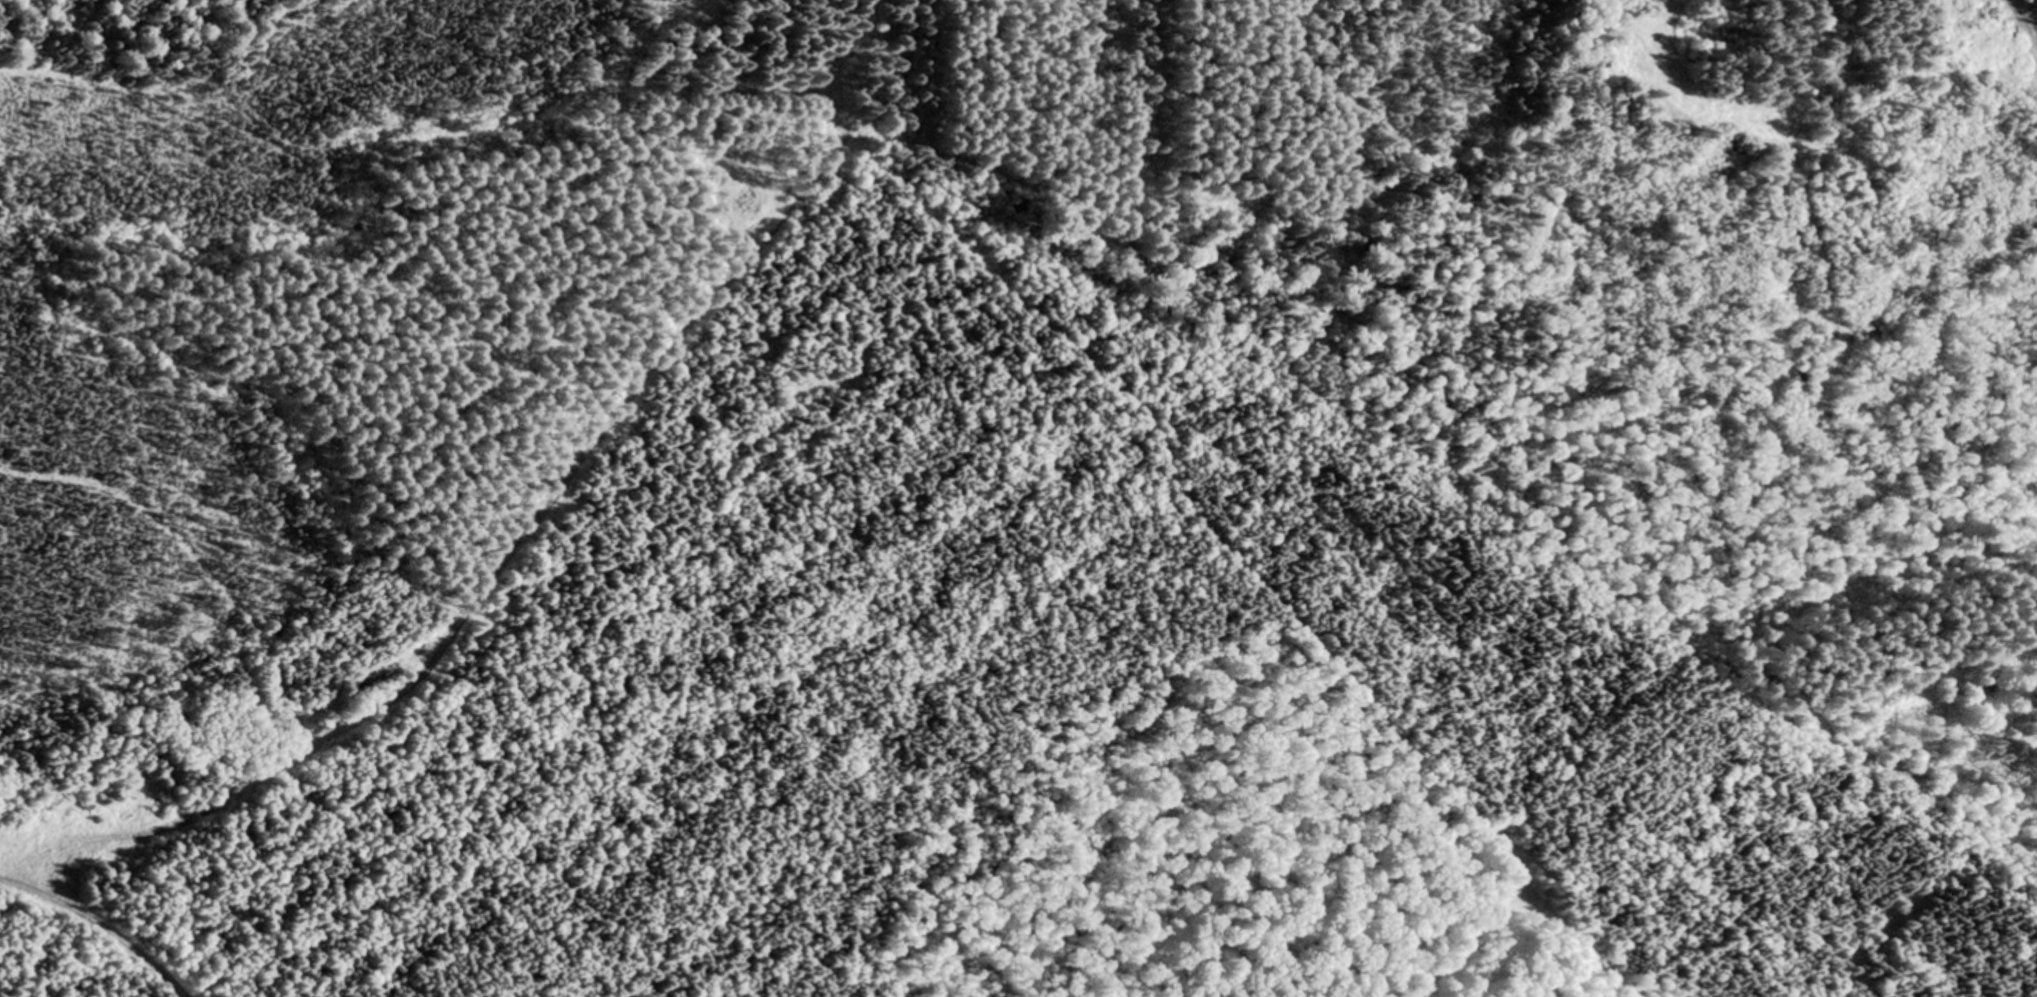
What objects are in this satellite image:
road: (128, 643)

